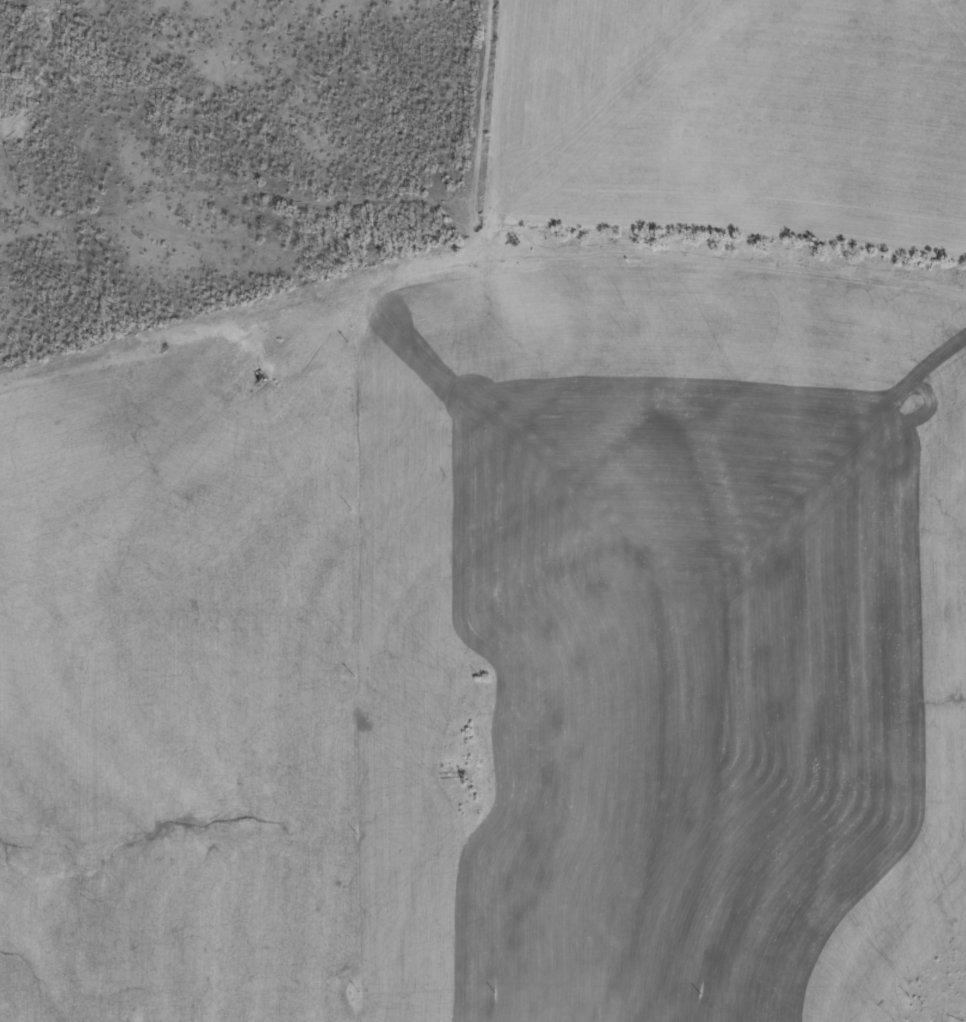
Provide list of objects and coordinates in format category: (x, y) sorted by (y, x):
road: (248, 20)

